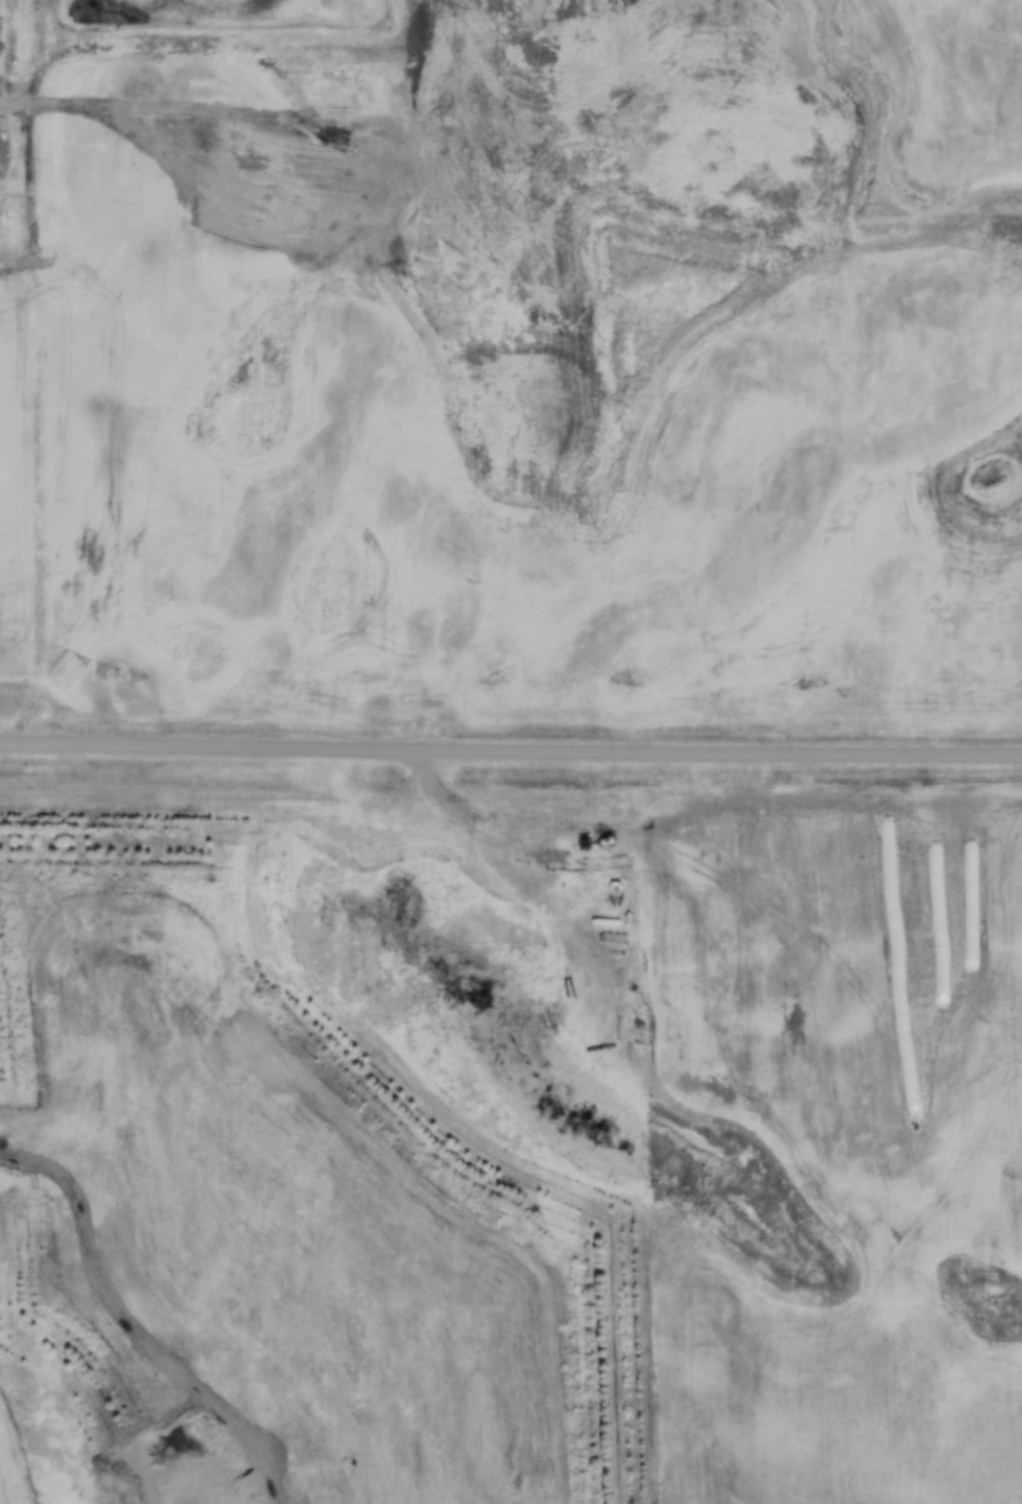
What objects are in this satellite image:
road: (510, 750)

